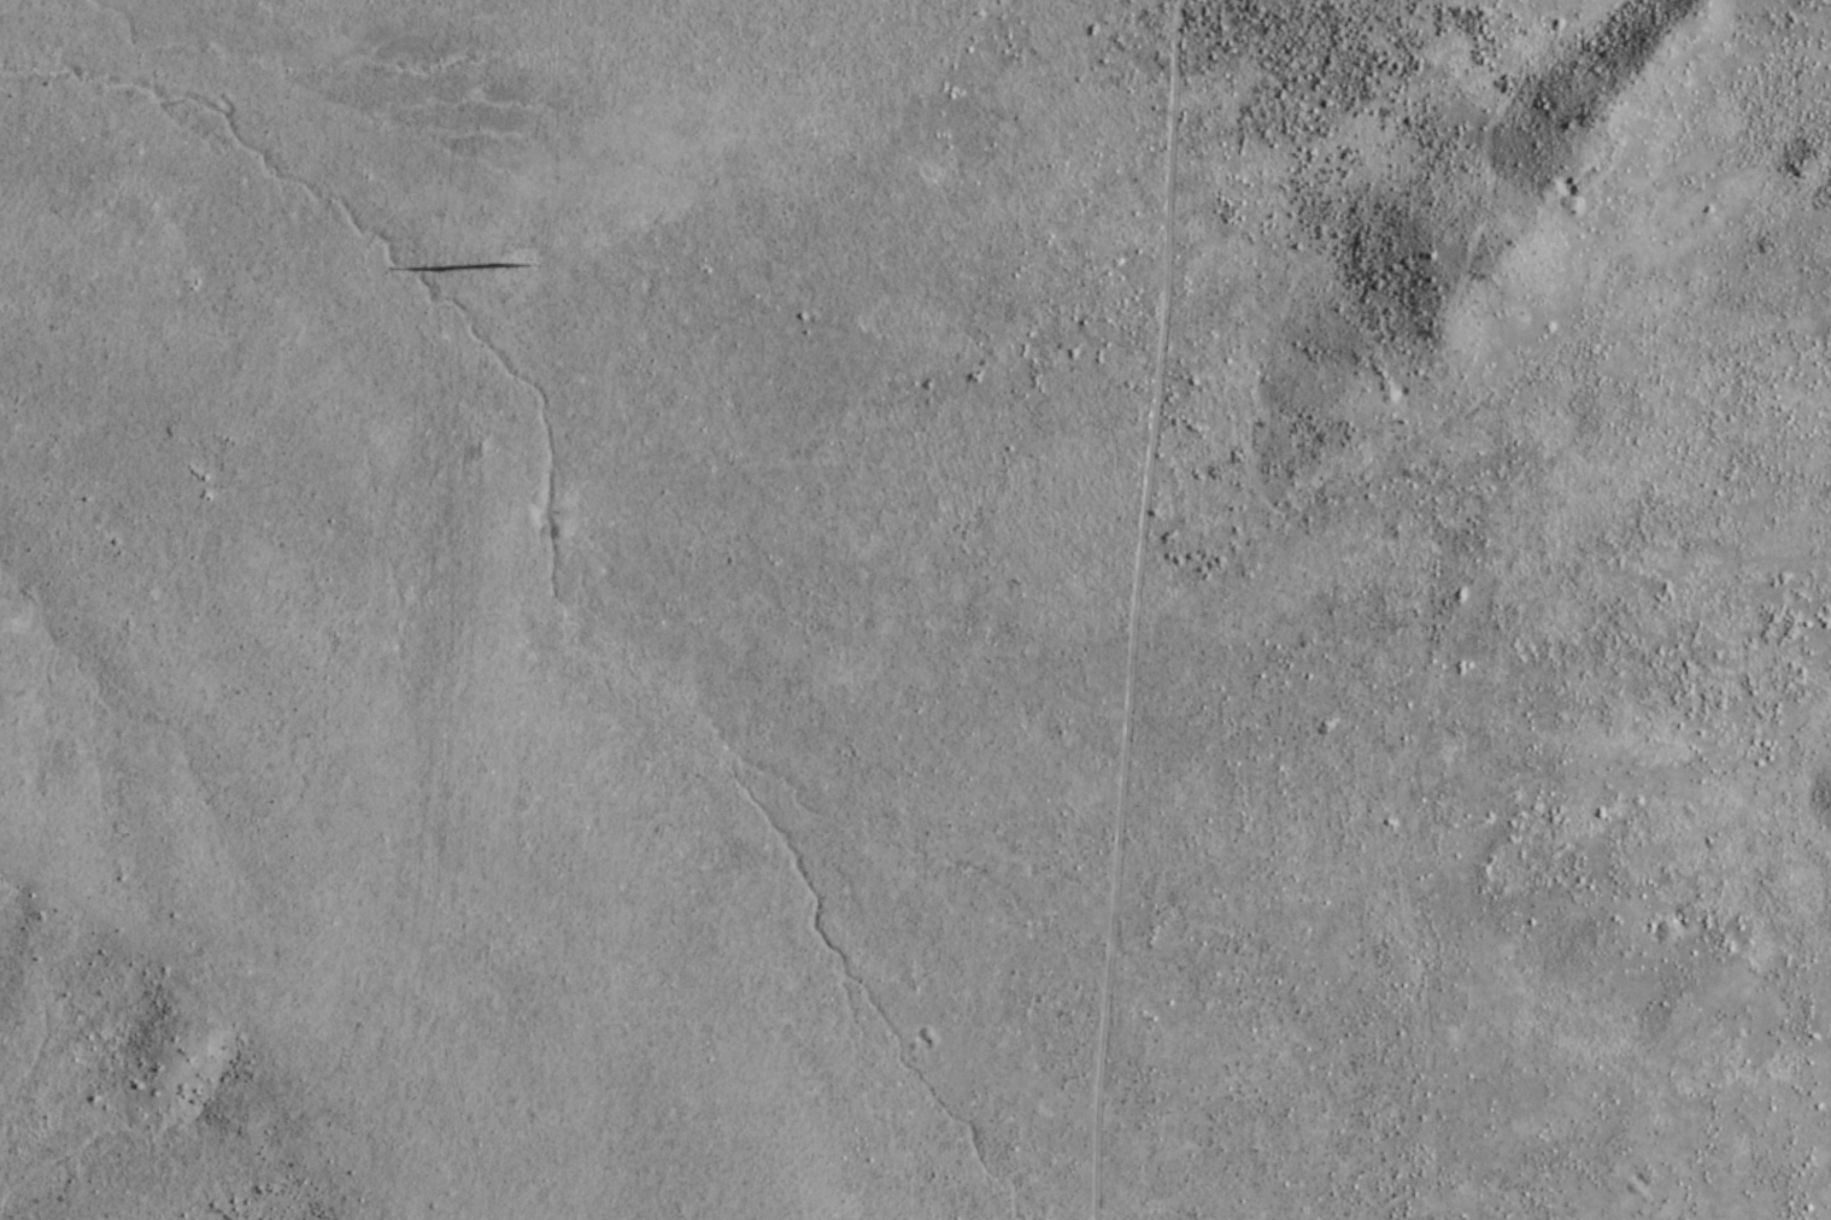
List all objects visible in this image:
crop: (27, 64)
power tower: (515, 275)
road: (1132, 609)

